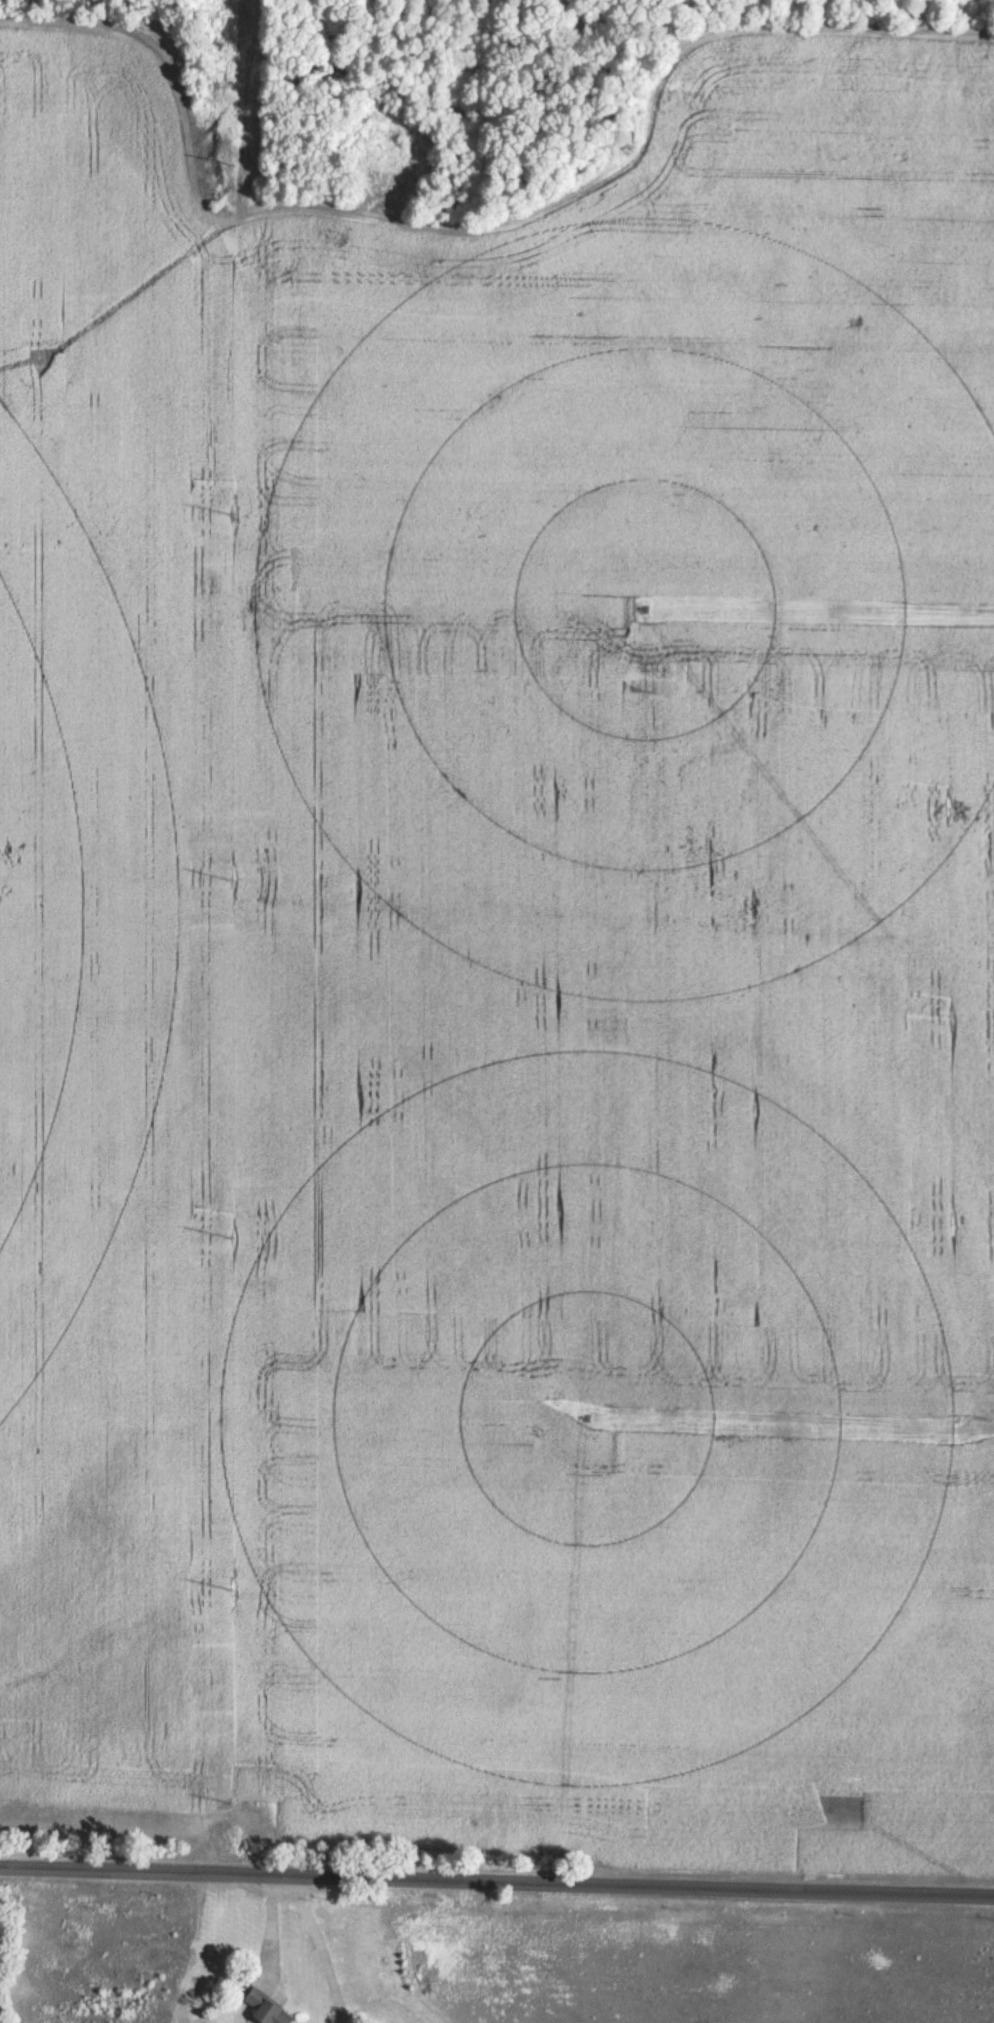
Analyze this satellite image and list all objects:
road: (497, 1883)
building: (262, 2009)

